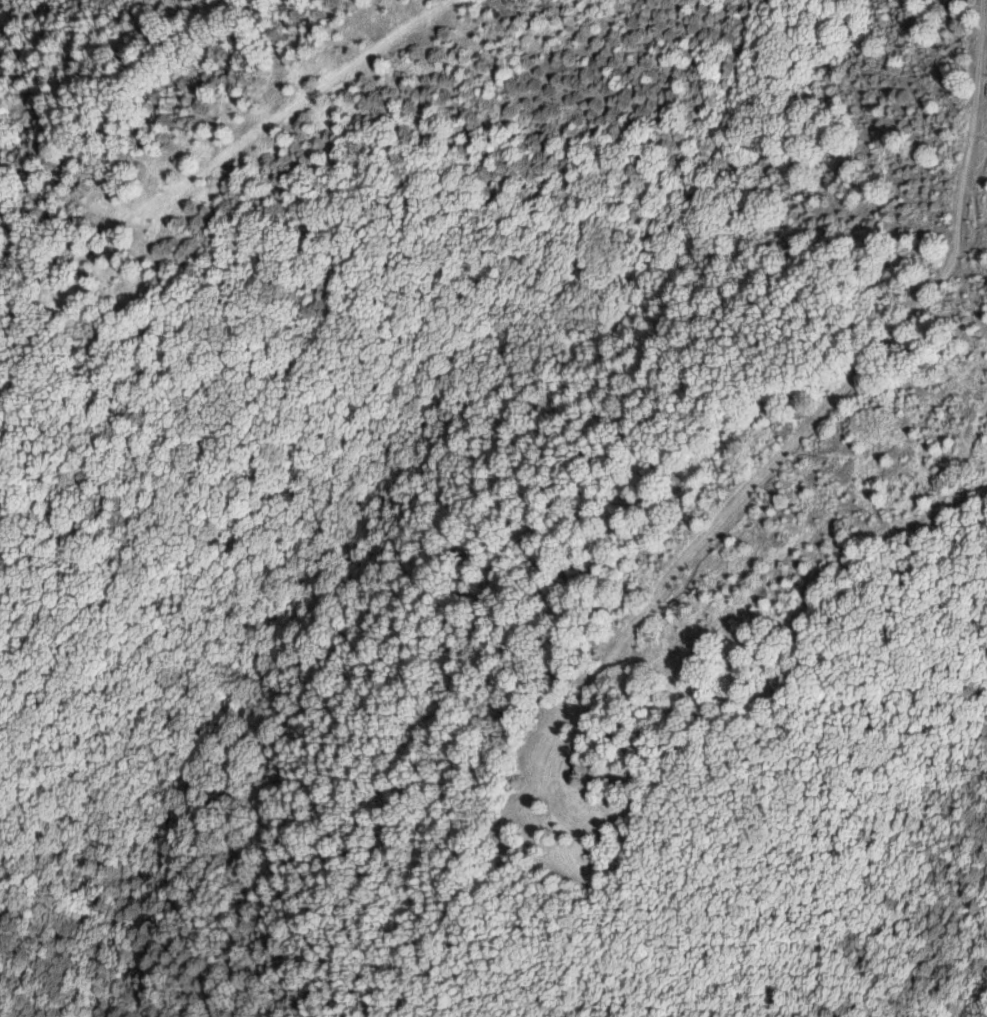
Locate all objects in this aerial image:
building: (542, 0)

